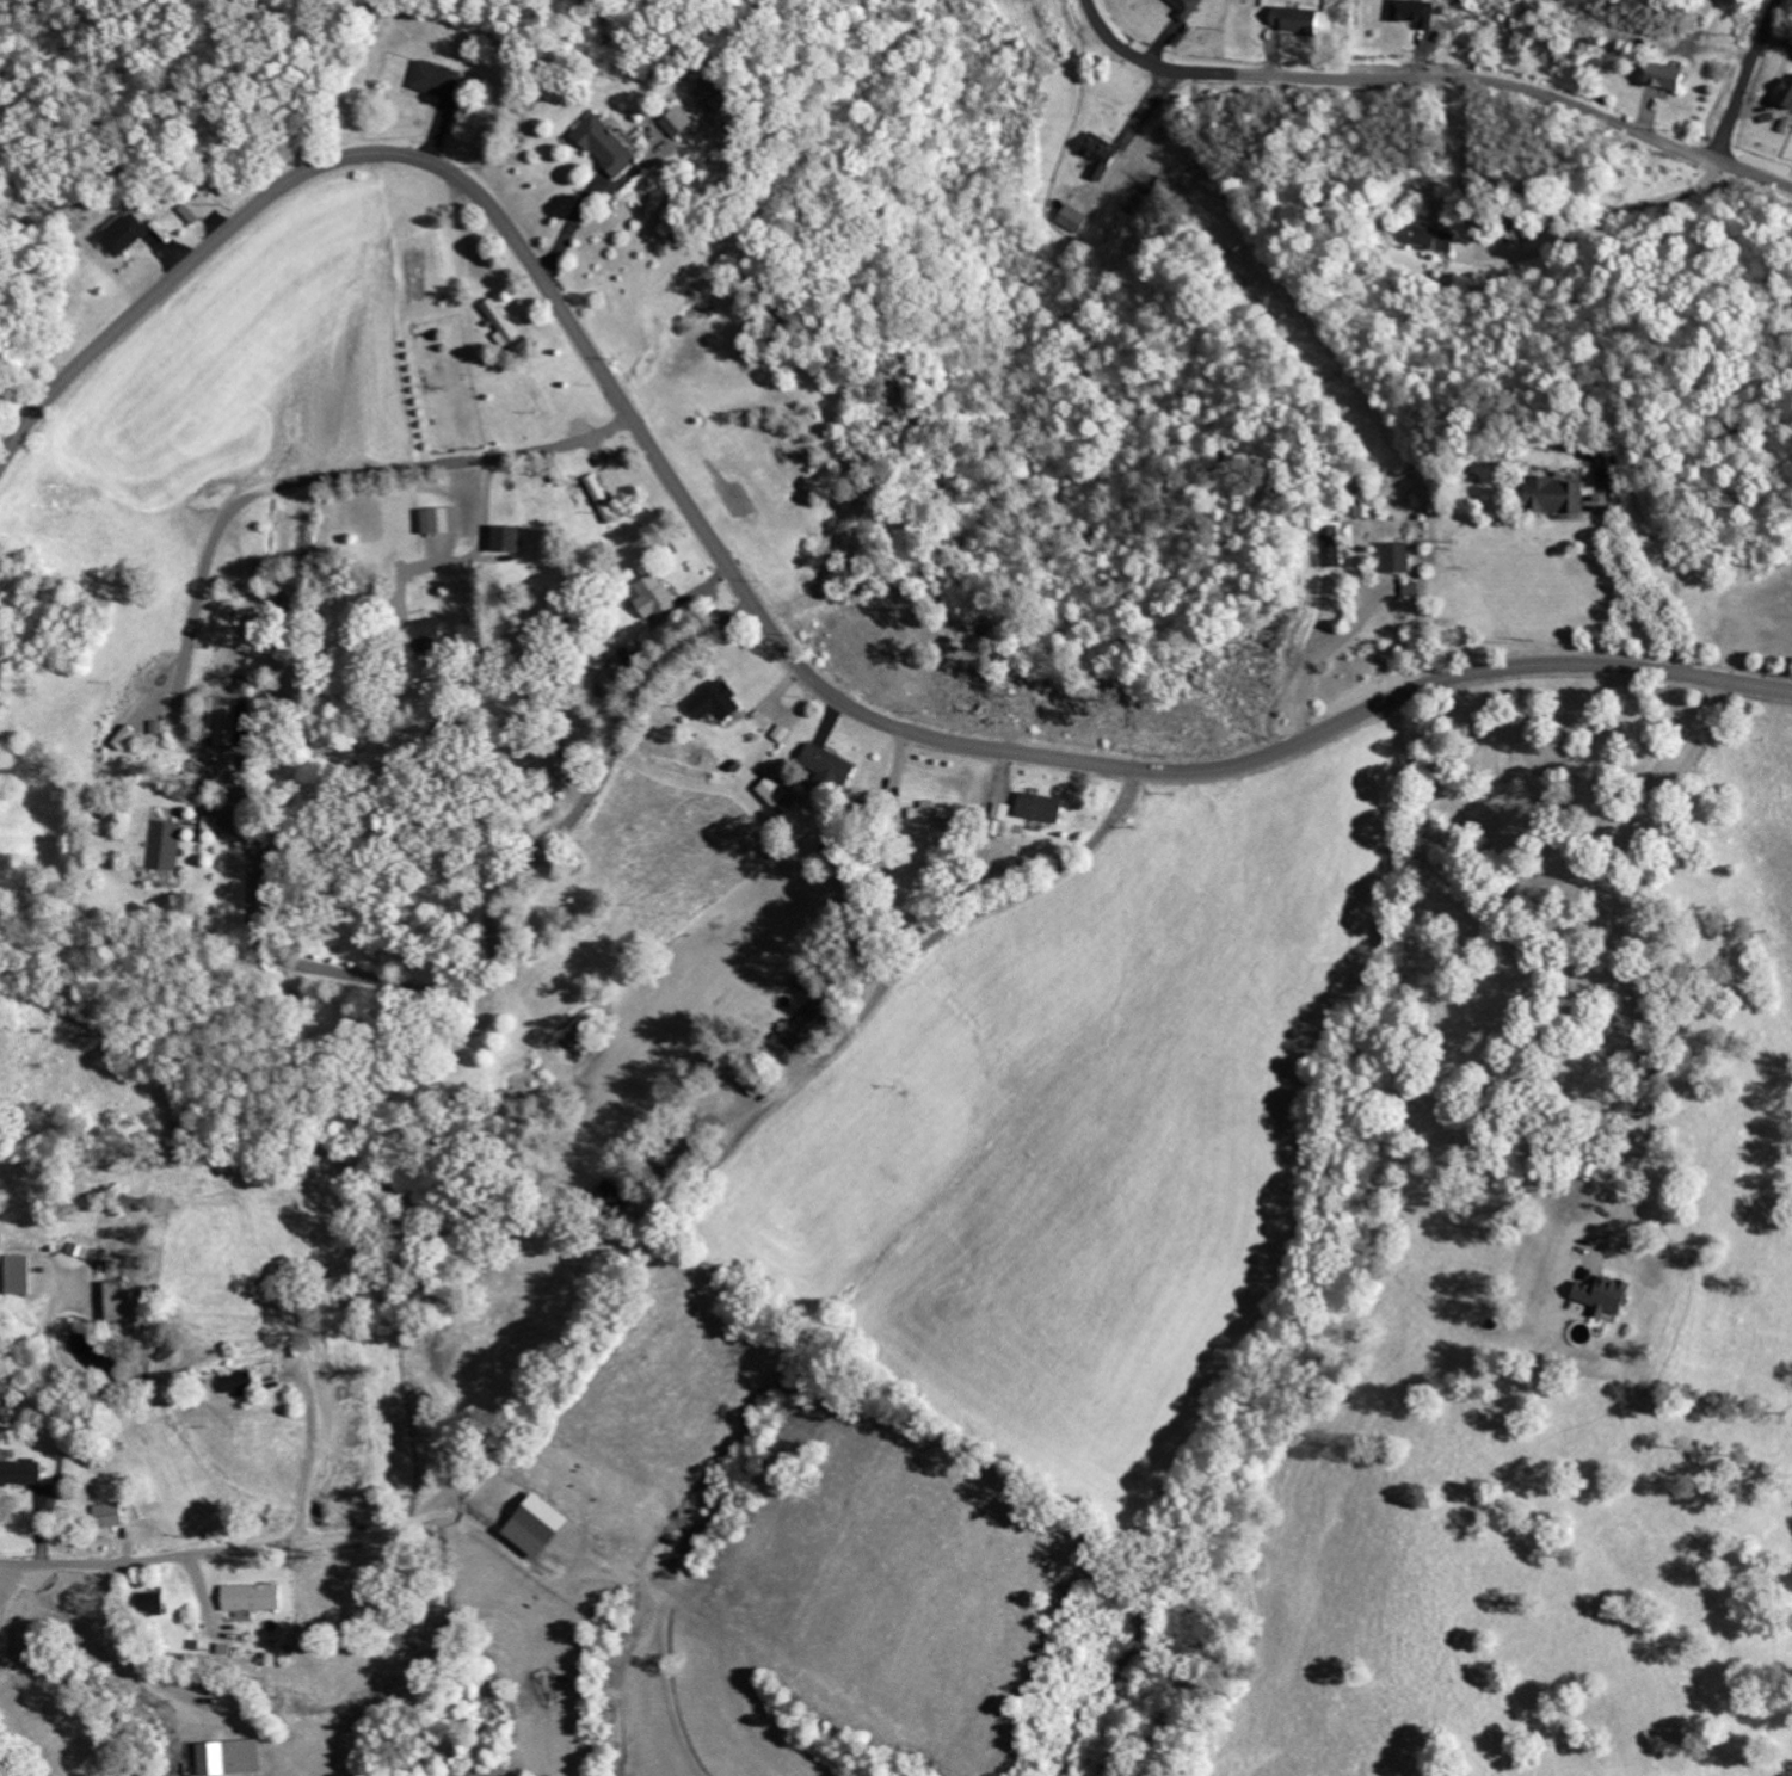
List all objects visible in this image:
building: (1191, 8)
building: (1417, 12)
building: (1300, 19)
road: (1436, 72)
road: (1749, 75)
building: (1673, 78)
building: (438, 80)
building: (1788, 97)
building: (683, 122)
building: (610, 146)
building: (1102, 155)
building: (199, 210)
building: (1076, 218)
building: (128, 235)
building: (1437, 239)
building: (507, 327)
road: (500, 467)
building: (1563, 494)
building: (605, 498)
building: (445, 519)
building: (513, 537)
building: (1334, 545)
building: (1400, 556)
building: (6, 580)
building: (659, 597)
road: (755, 609)
building: (436, 634)
building: (720, 701)
building: (229, 720)
building: (786, 732)
road: (620, 751)
building: (833, 766)
building: (780, 794)
building: (1045, 807)
building: (940, 810)
building: (166, 845)
road: (953, 924)
building: (813, 1025)
building: (23, 1275)
building: (1609, 1296)
building: (124, 1302)
building: (241, 1383)
building: (23, 1473)
building: (116, 1515)
road: (150, 1561)
building: (257, 1597)
building: (161, 1604)
building: (235, 1758)

